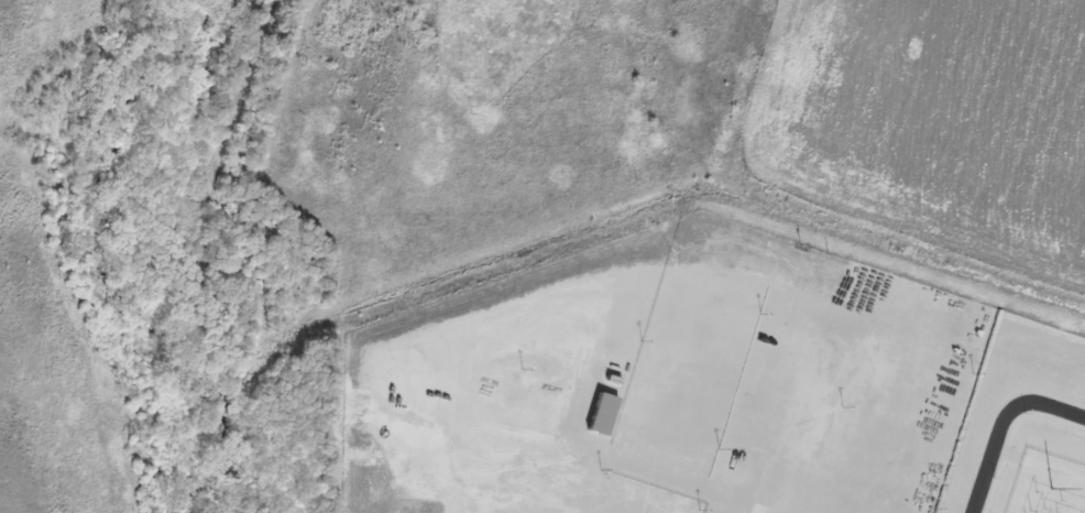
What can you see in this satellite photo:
power plant: (724, 382)
power substation: (1046, 483)

